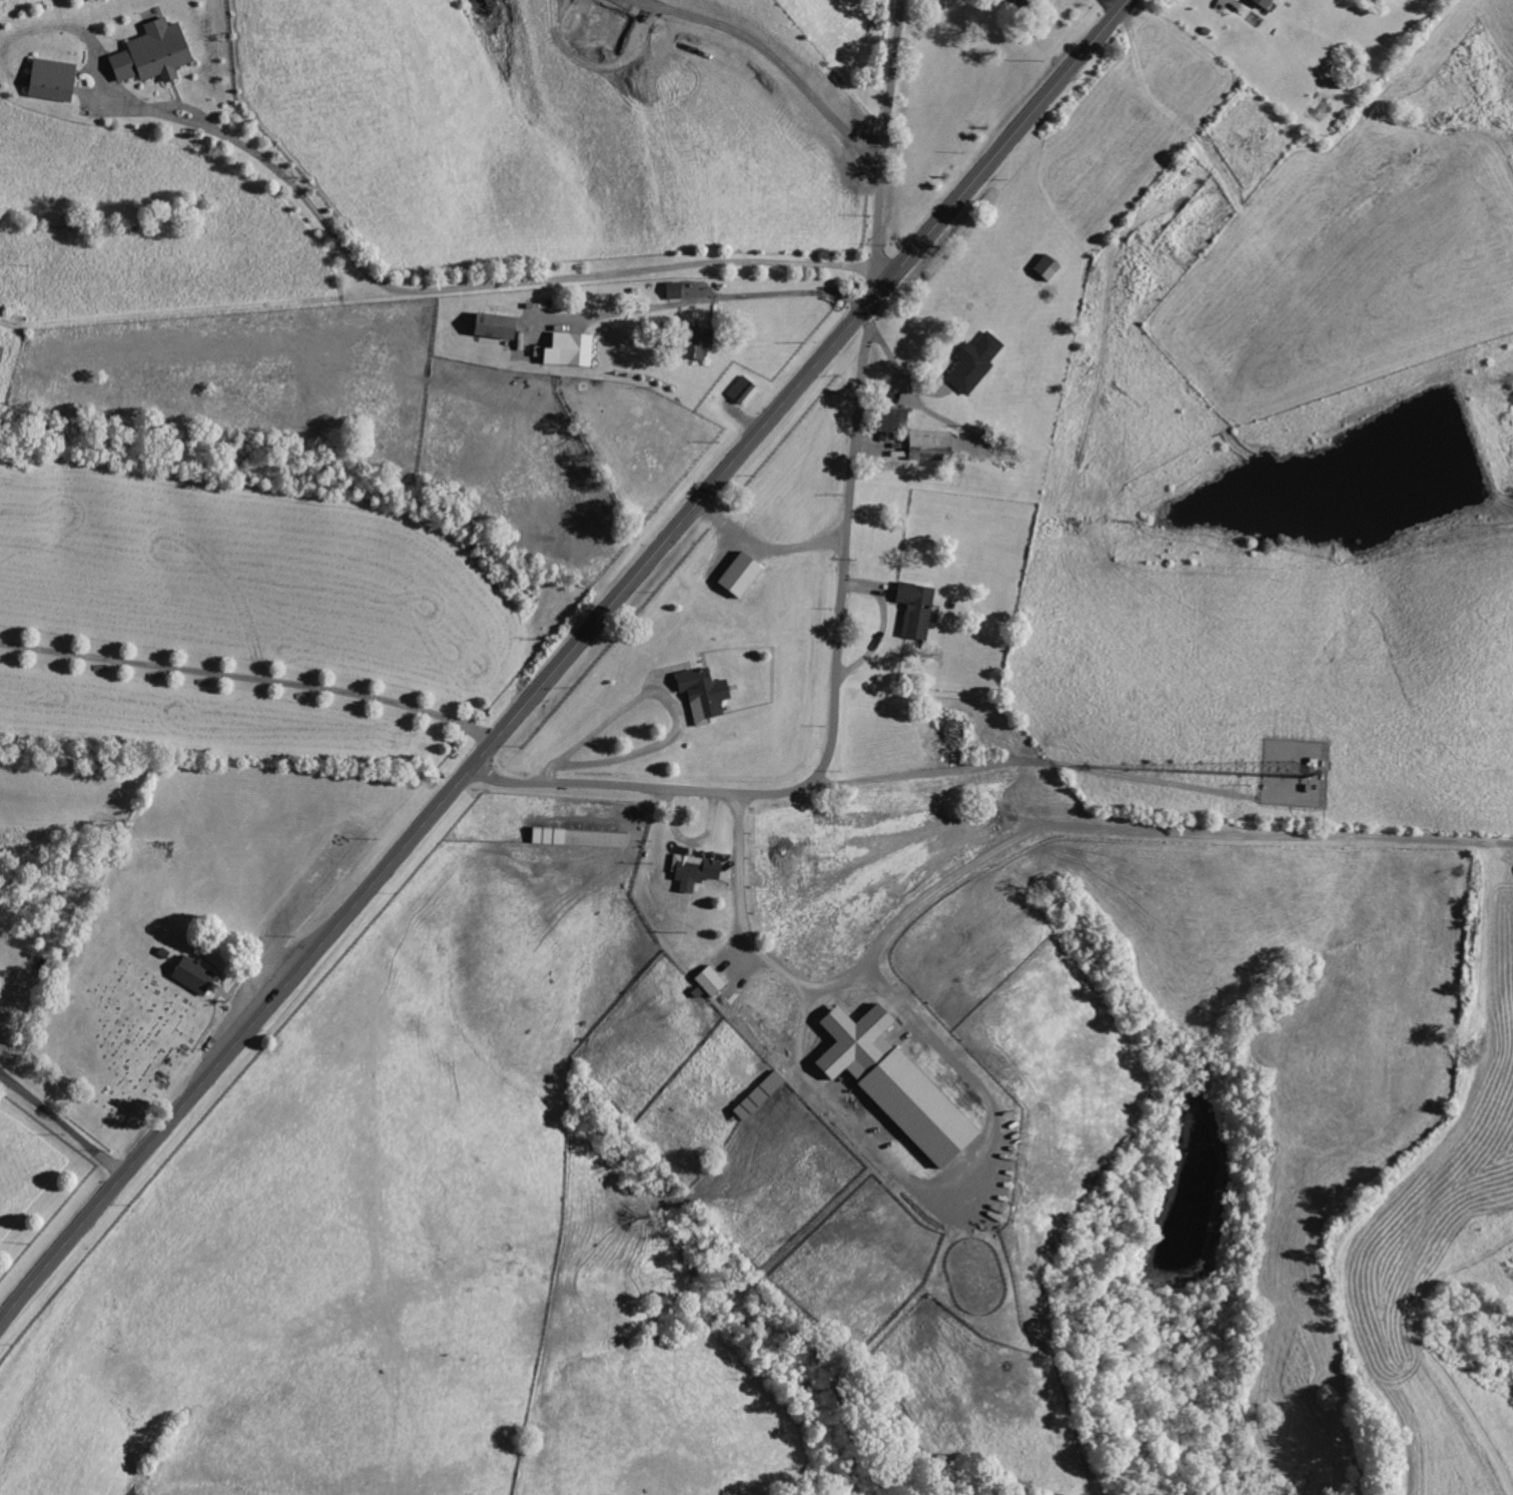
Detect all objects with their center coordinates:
building: (1260, 4)
building: (1017, 6)
building: (151, 53)
building: (49, 79)
road: (884, 148)
building: (1044, 267)
road: (477, 284)
building: (672, 290)
road: (703, 290)
building: (490, 325)
building: (690, 343)
building: (563, 350)
building: (973, 362)
road: (907, 384)
building: (743, 391)
building: (888, 422)
building: (929, 444)
road: (766, 546)
building: (738, 575)
building: (914, 609)
road: (562, 662)
road: (252, 676)
building: (701, 694)
road: (663, 695)
road: (832, 711)
road: (1103, 830)
building: (577, 838)
building: (693, 871)
road: (856, 973)
building: (192, 975)
building: (708, 981)
park: (121, 1042)
building: (891, 1083)
building: (758, 1096)
road: (63, 1122)

